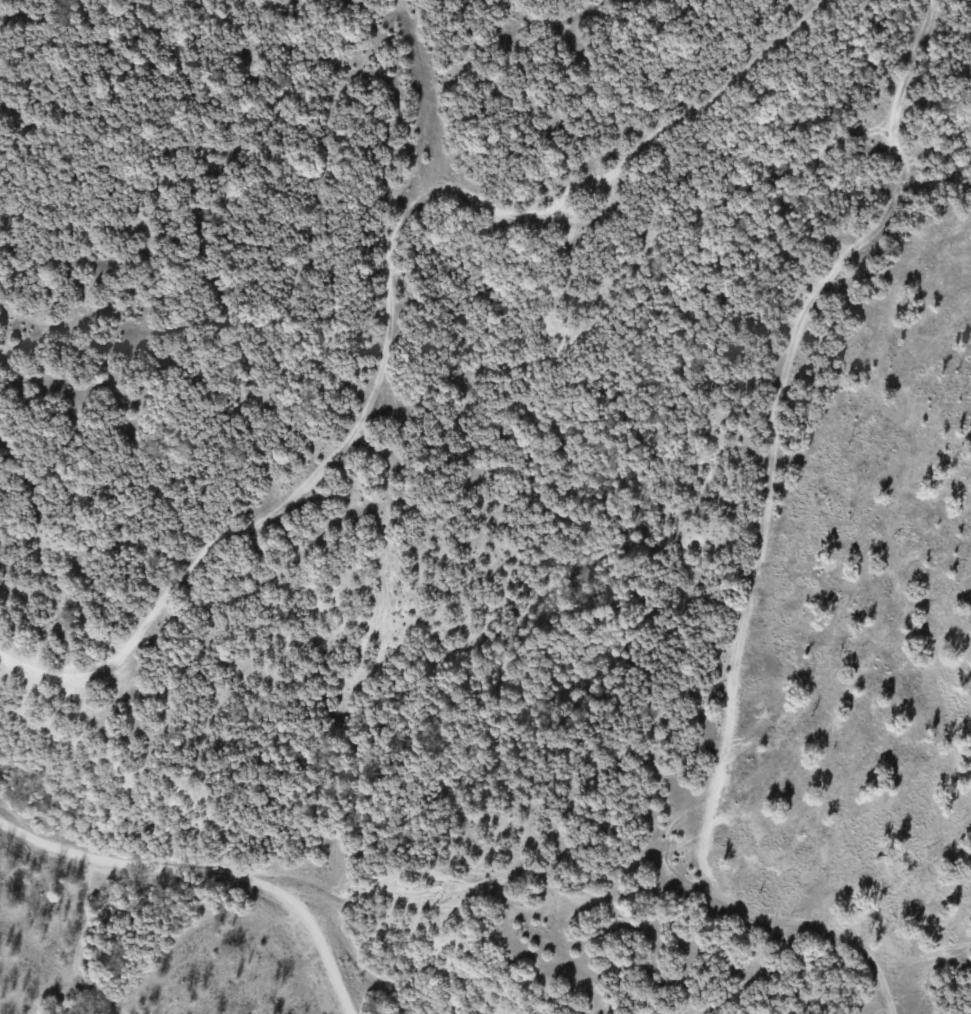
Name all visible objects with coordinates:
road: (208, 872)

